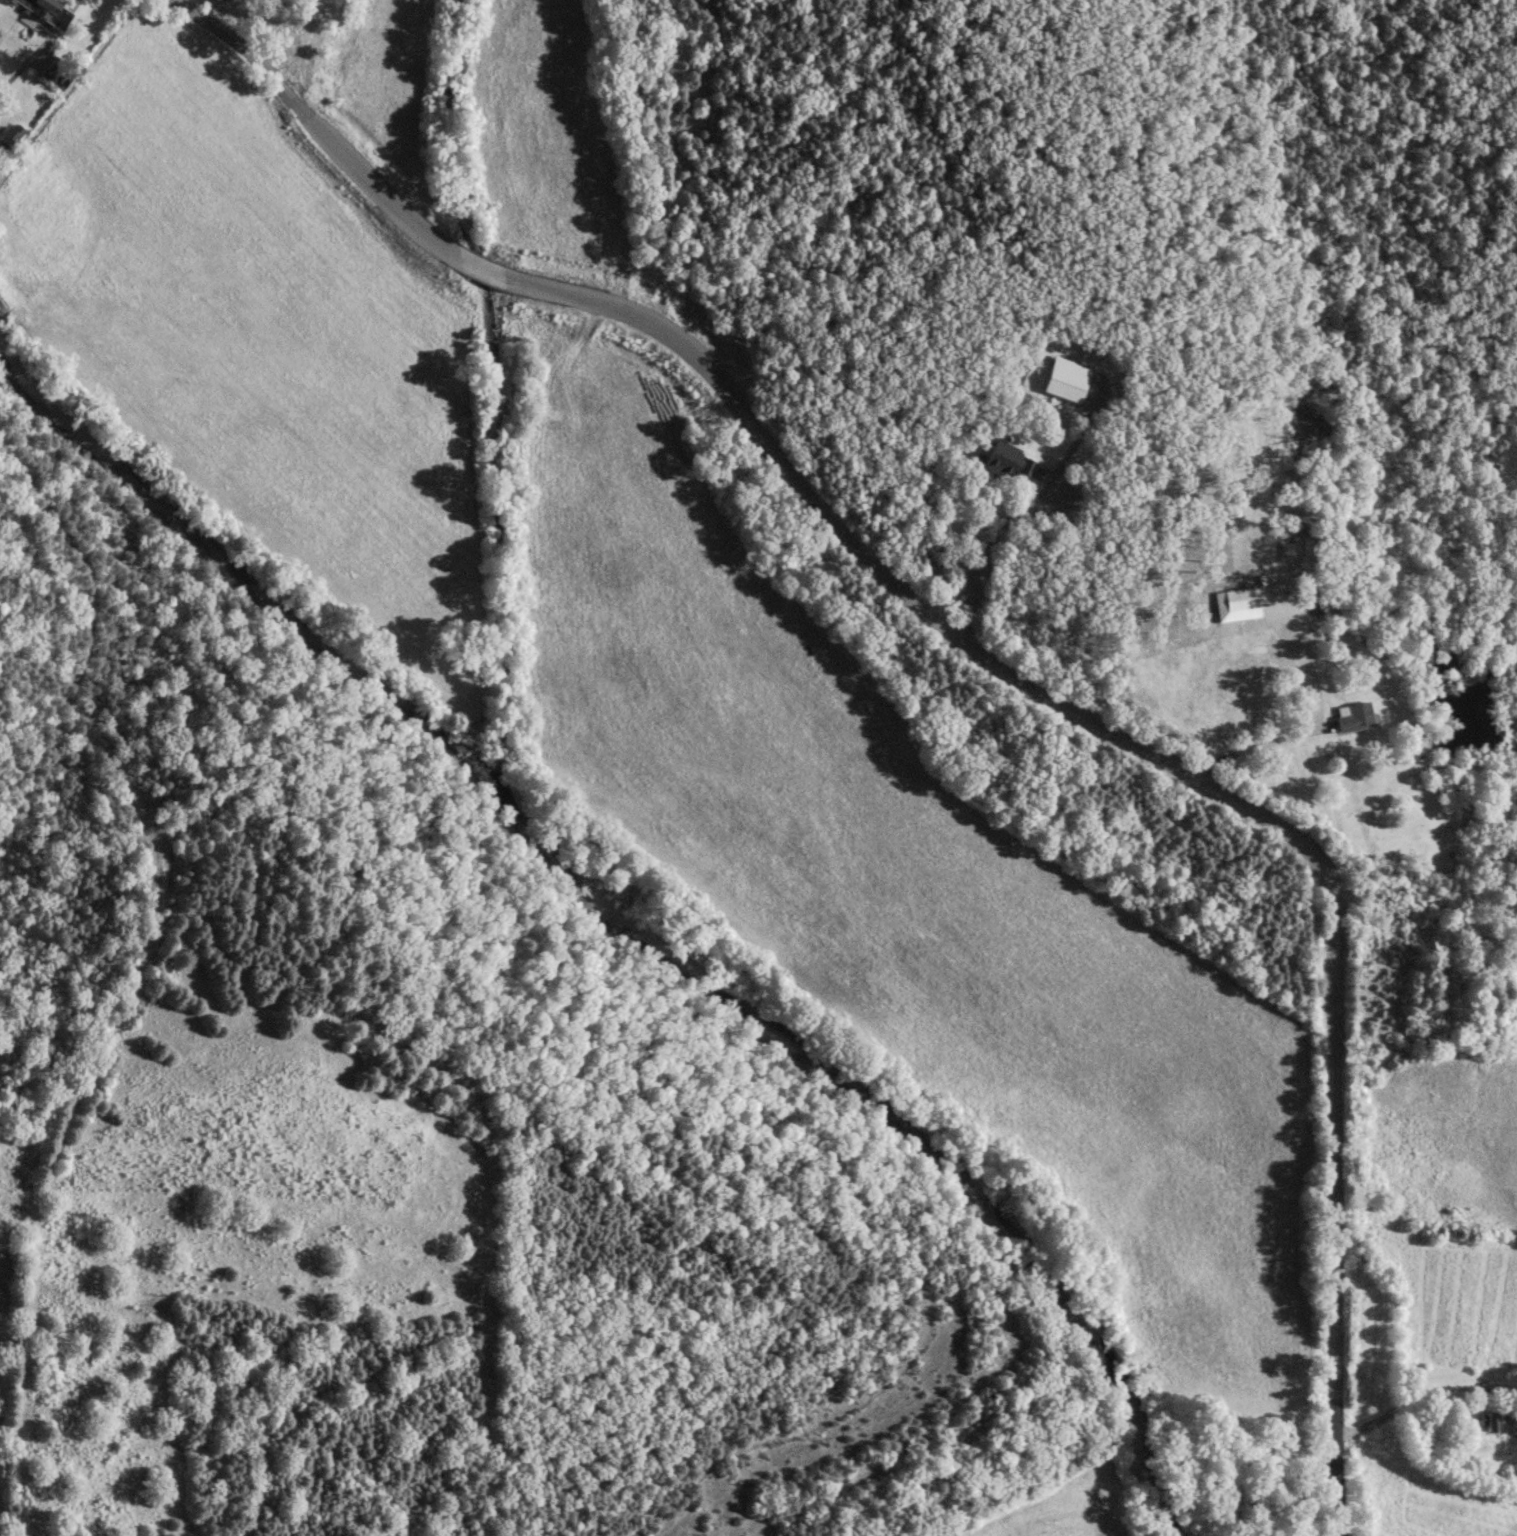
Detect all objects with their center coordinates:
building: (45, 10)
road: (24, 63)
building: (54, 76)
road: (67, 87)
building: (8, 137)
building: (1065, 379)
building: (1006, 461)
road: (1029, 503)
building: (1240, 598)
road: (983, 657)
building: (1353, 717)
road: (1311, 731)
road: (1422, 1395)
building: (1492, 1422)

